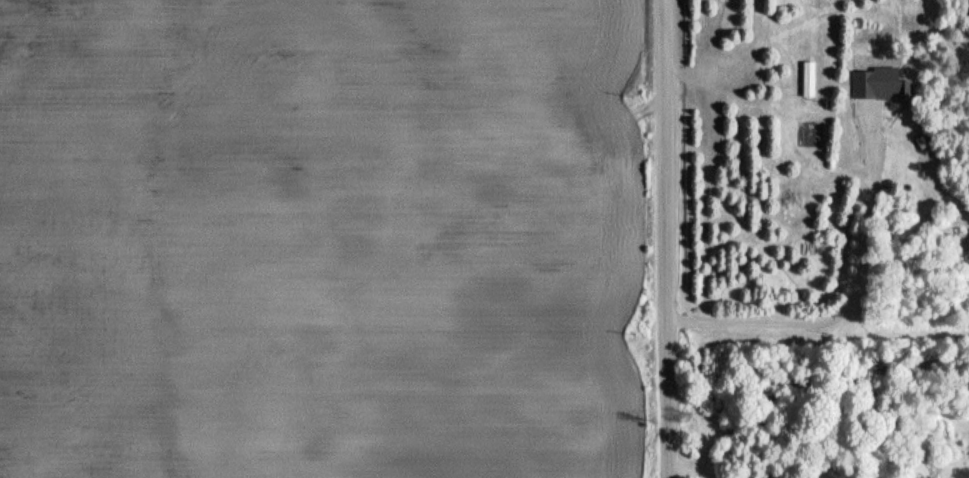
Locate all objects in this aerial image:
building: (903, 89)
road: (666, 239)

